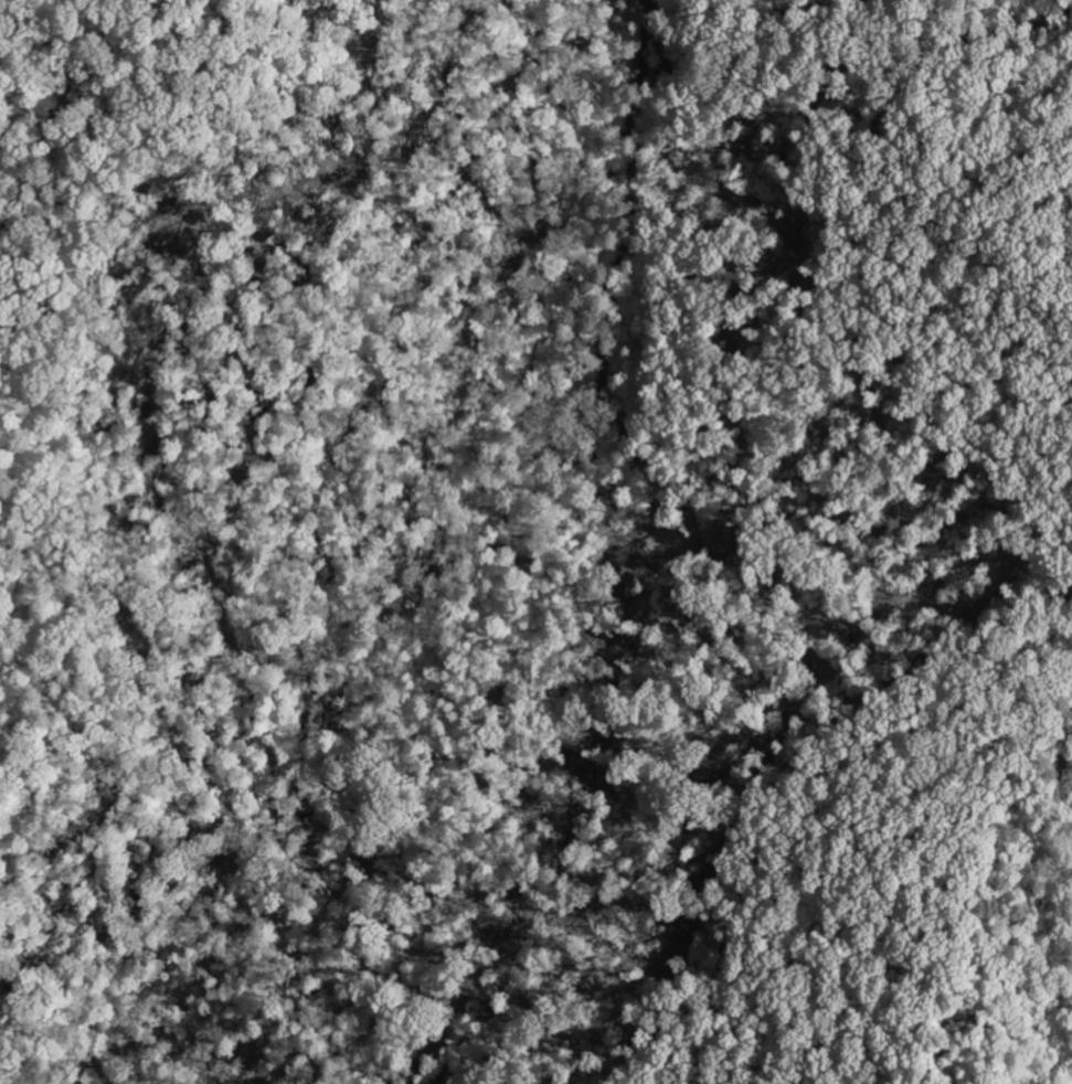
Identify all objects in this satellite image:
road: (1063, 766)
road: (996, 1059)

